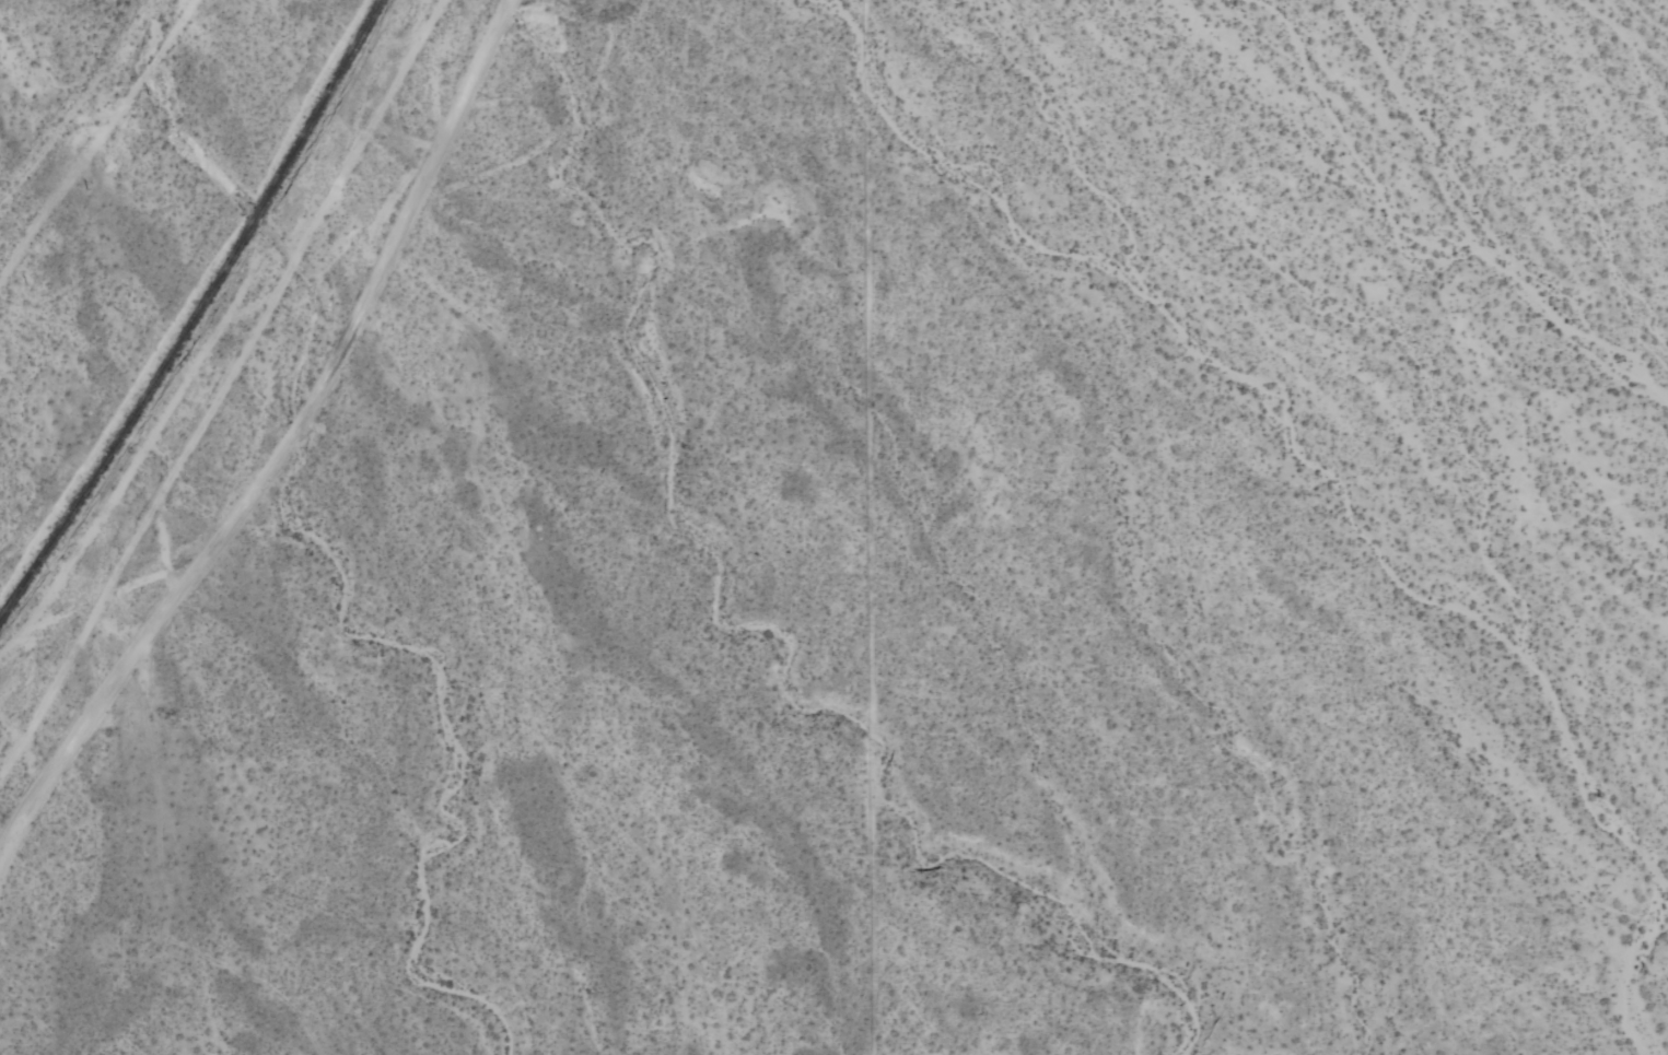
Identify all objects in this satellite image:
road: (93, 137)
railway: (193, 310)
road: (280, 445)

